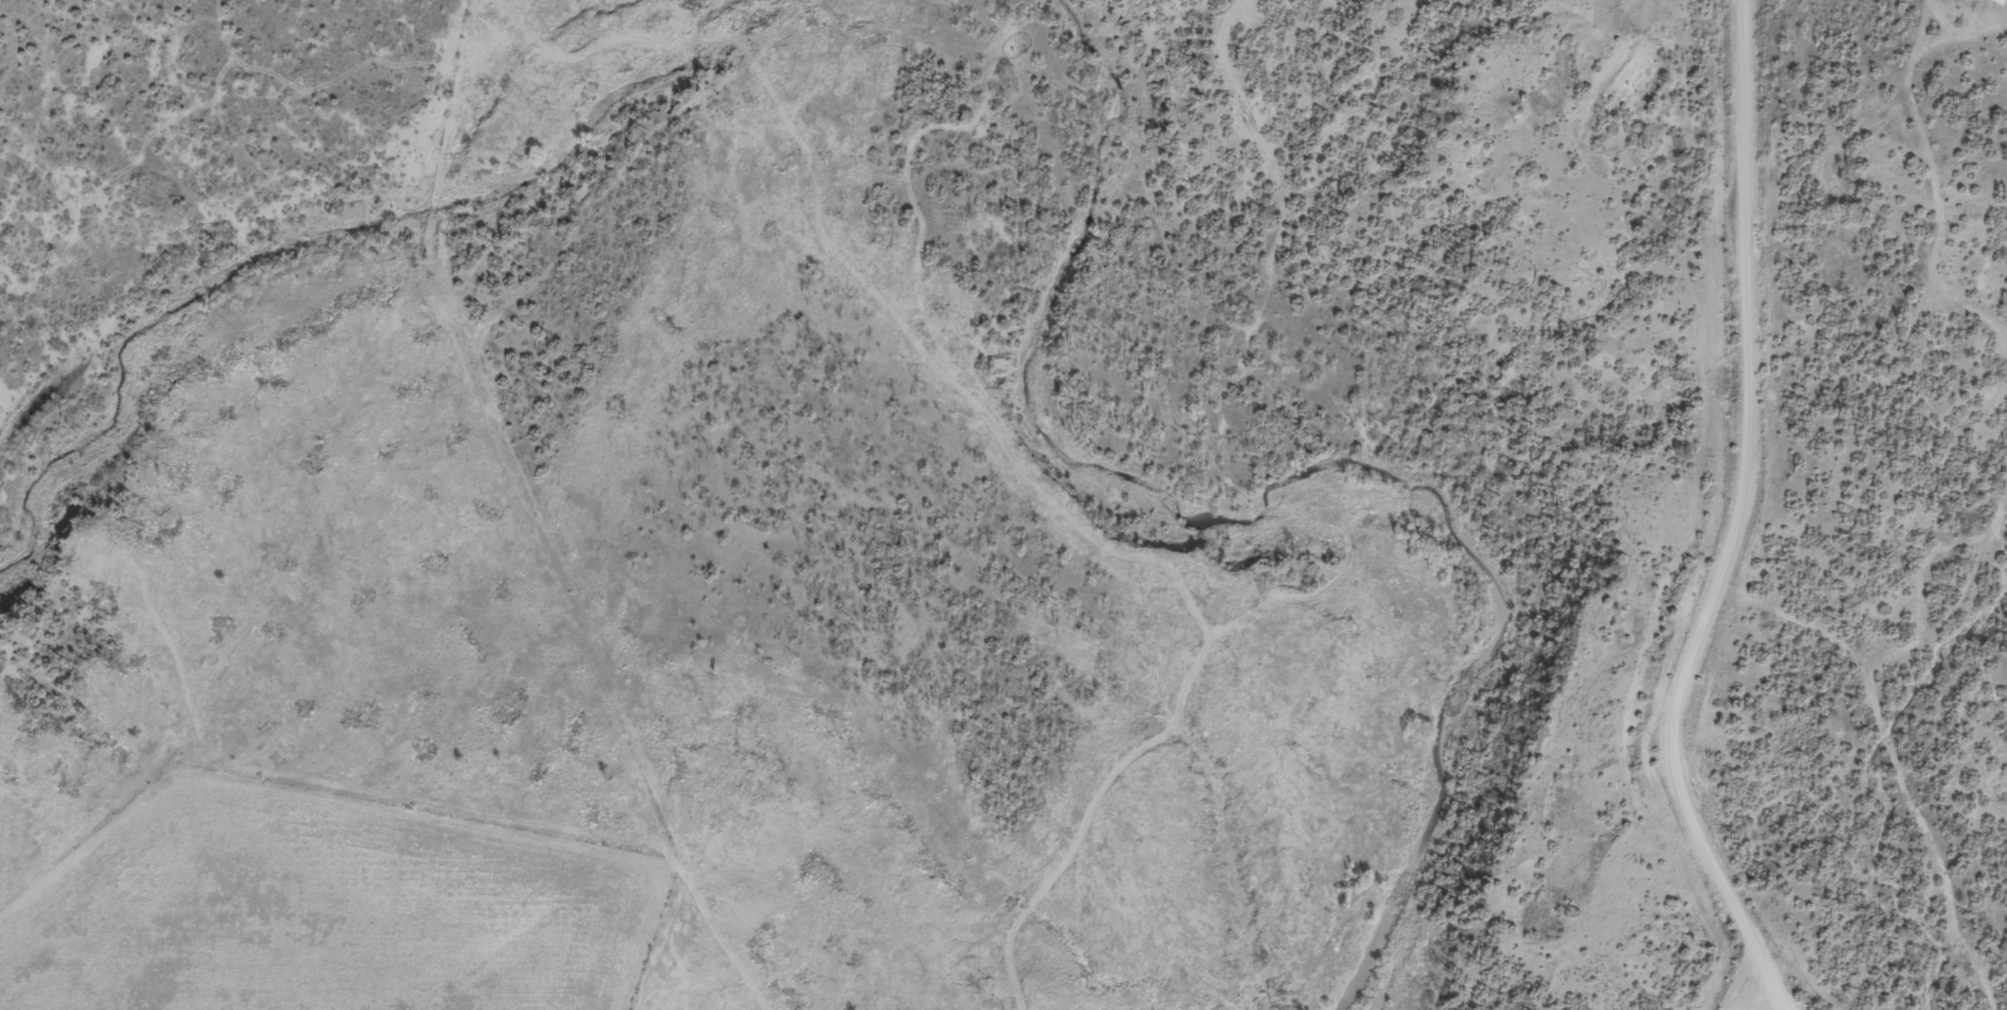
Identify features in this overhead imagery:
road: (1740, 522)

